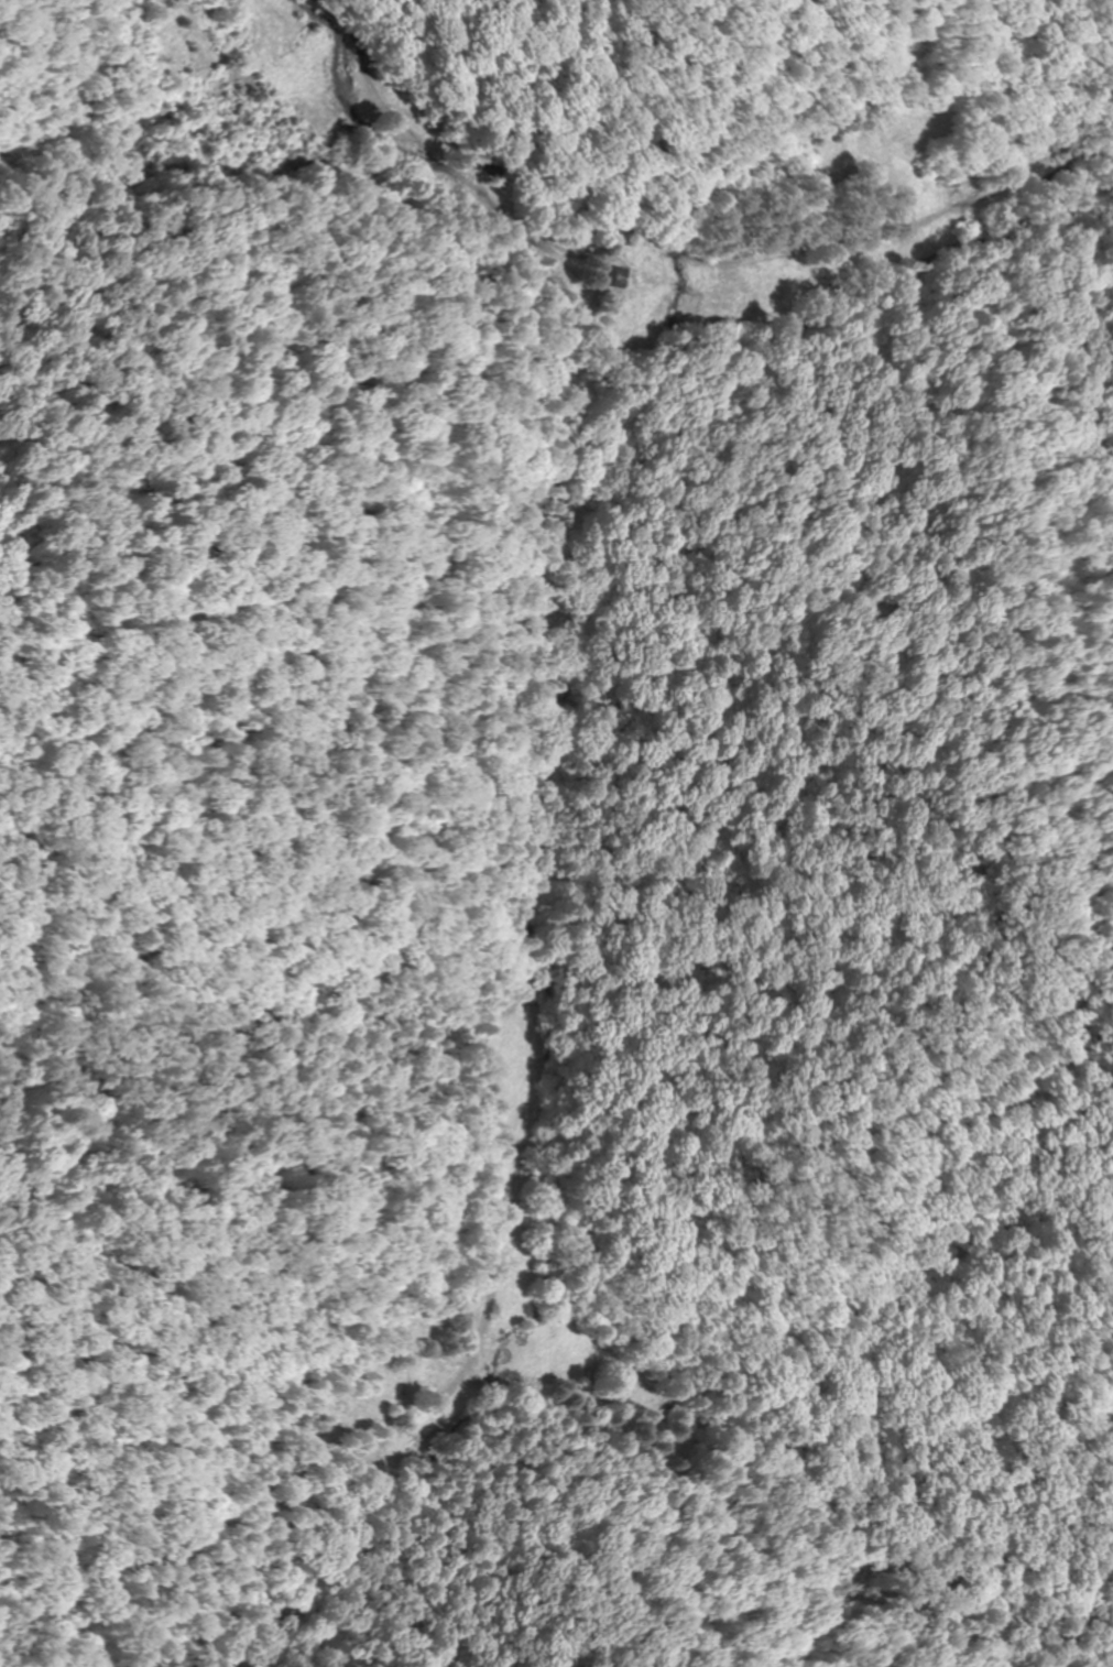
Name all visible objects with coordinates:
building: (614, 276)

